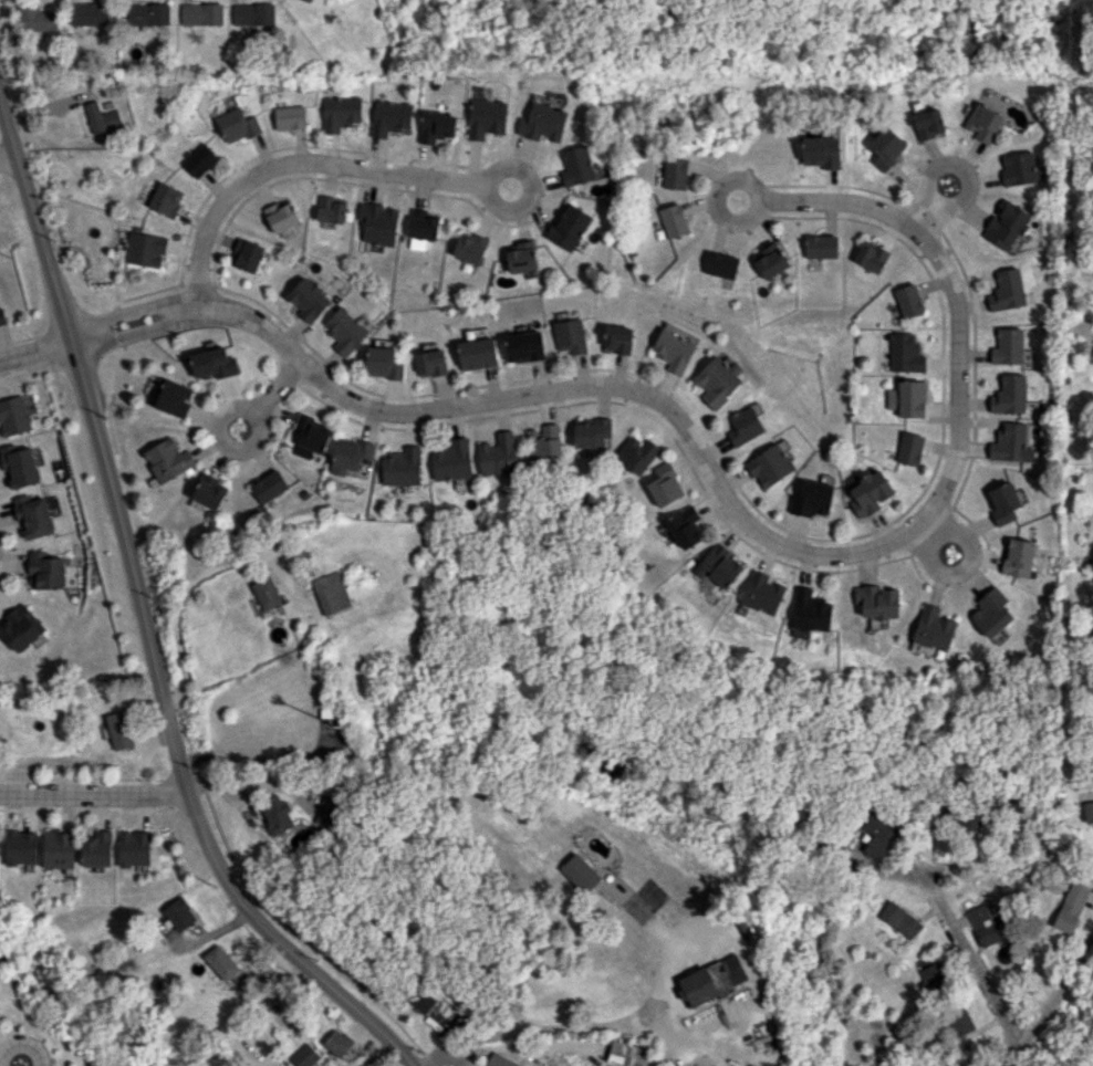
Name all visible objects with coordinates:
building: (309, 0)
building: (89, 13)
building: (146, 13)
building: (201, 13)
building: (253, 13)
building: (37, 18)
building: (341, 113)
building: (101, 117)
building: (290, 117)
building: (389, 117)
building: (487, 118)
building: (543, 123)
building: (982, 123)
building: (928, 124)
building: (237, 125)
building: (436, 126)
building: (886, 147)
building: (821, 151)
road: (7, 156)
building: (199, 160)
road: (311, 165)
building: (577, 166)
building: (1018, 168)
building: (675, 173)
building: (166, 199)
road: (934, 205)
building: (332, 209)
building: (282, 216)
building: (674, 220)
building: (378, 223)
building: (424, 224)
building: (1007, 224)
building: (569, 227)
building: (470, 247)
building: (821, 247)
building: (144, 249)
building: (248, 254)
building: (520, 255)
building: (872, 258)
building: (771, 260)
building: (720, 264)
building: (1008, 290)
building: (309, 299)
building: (909, 301)
building: (2, 316)
building: (345, 331)
building: (569, 336)
building: (617, 338)
road: (34, 346)
building: (524, 346)
building: (1008, 346)
building: (674, 347)
building: (477, 353)
building: (905, 353)
building: (214, 363)
building: (383, 363)
building: (430, 363)
building: (717, 380)
building: (1009, 395)
road: (271, 396)
building: (174, 398)
building: (907, 398)
building: (13, 416)
building: (745, 426)
building: (311, 432)
building: (593, 433)
building: (544, 441)
building: (1008, 442)
building: (909, 448)
building: (499, 454)
building: (636, 454)
building: (348, 456)
building: (168, 459)
building: (452, 460)
building: (19, 464)
building: (770, 466)
building: (400, 467)
road: (716, 482)
building: (665, 485)
building: (269, 487)
building: (210, 491)
building: (870, 493)
building: (811, 499)
building: (1002, 502)
building: (33, 515)
building: (684, 526)
road: (936, 541)
building: (1018, 557)
building: (719, 565)
building: (45, 569)
building: (267, 593)
building: (332, 593)
building: (762, 593)
building: (877, 602)
road: (179, 605)
building: (810, 610)
building: (991, 612)
road: (144, 621)
building: (21, 627)
building: (933, 628)
building: (119, 730)
road: (94, 794)
building: (327, 811)
building: (1089, 811)
building: (277, 812)
building: (970, 819)
building: (879, 835)
road: (1032, 843)
building: (21, 847)
building: (135, 848)
building: (59, 849)
building: (97, 849)
building: (580, 872)
building: (1071, 907)
building: (179, 913)
building: (901, 919)
building: (983, 924)
road: (971, 960)
building: (221, 962)
building: (934, 973)
building: (711, 981)
building: (423, 1000)
road: (1052, 1000)
road: (249, 1003)
building: (959, 1020)
road: (590, 1028)
building: (337, 1042)
building: (626, 1054)
building: (304, 1056)
road: (373, 1057)
building: (499, 1060)
road: (19, 1065)

